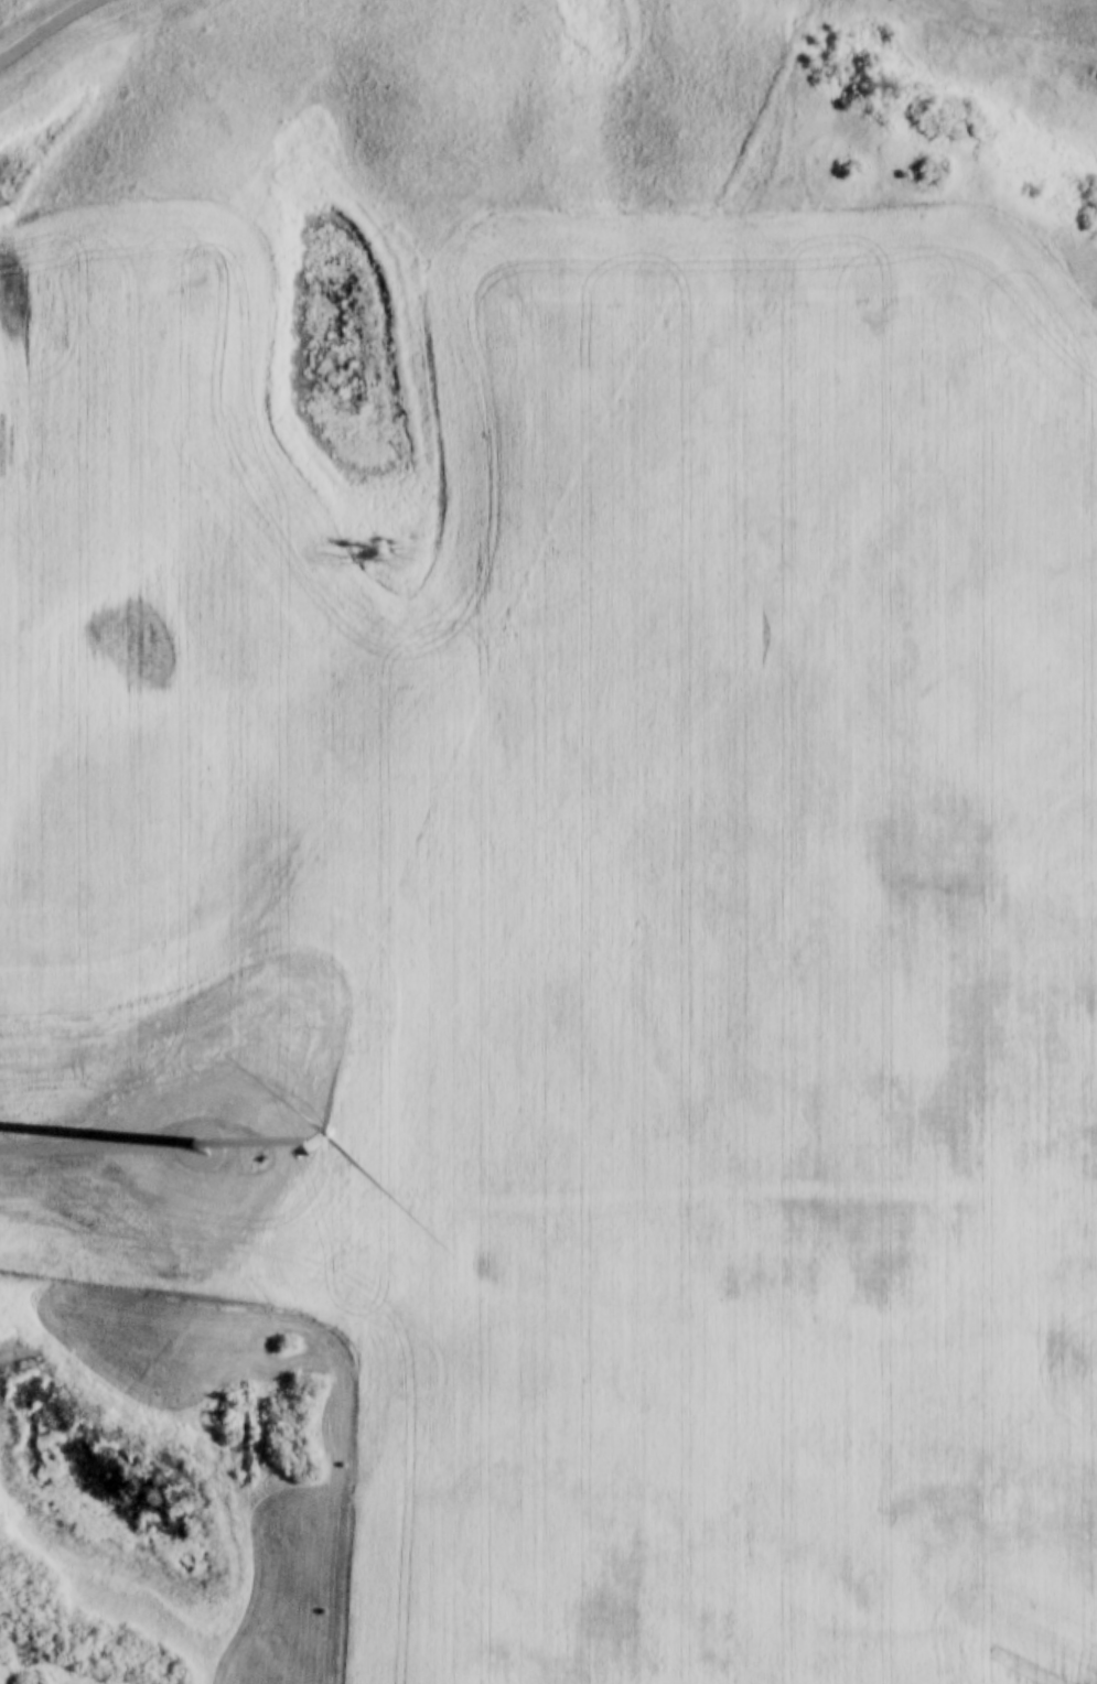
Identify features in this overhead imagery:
road: (35, 22)
wind turbine: (183, 1092)
road: (58, 1153)

